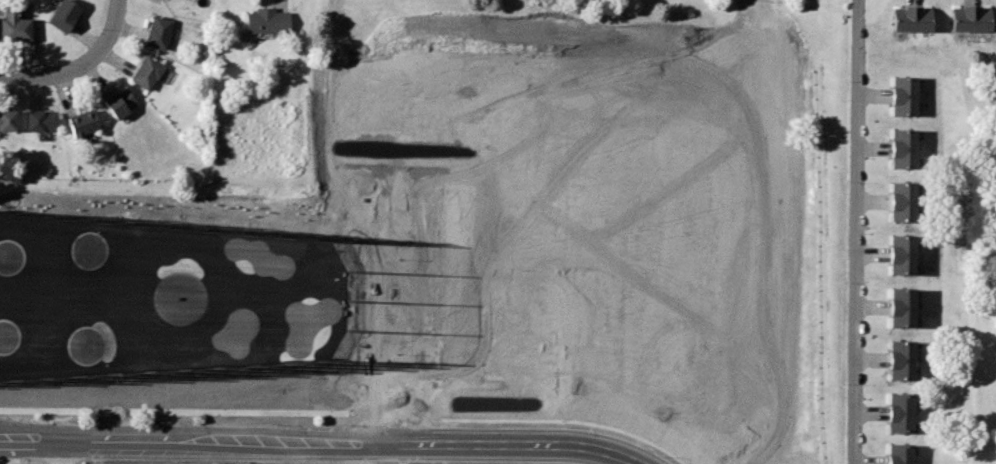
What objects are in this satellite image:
building: (63, 15)
building: (901, 16)
building: (920, 16)
building: (960, 16)
building: (979, 16)
building: (267, 21)
building: (15, 27)
building: (160, 32)
road: (79, 66)
building: (993, 66)
building: (147, 73)
building: (902, 83)
building: (120, 102)
building: (902, 102)
building: (7, 119)
building: (38, 120)
building: (83, 122)
building: (901, 136)
building: (901, 155)
building: (901, 189)
building: (901, 208)
road: (855, 231)
building: (901, 242)
building: (900, 261)
building: (901, 295)
building: (900, 314)
building: (900, 348)
building: (900, 367)
building: (899, 401)
building: (43, 407)
building: (899, 420)
road: (325, 442)
building: (899, 452)
building: (897, 462)

